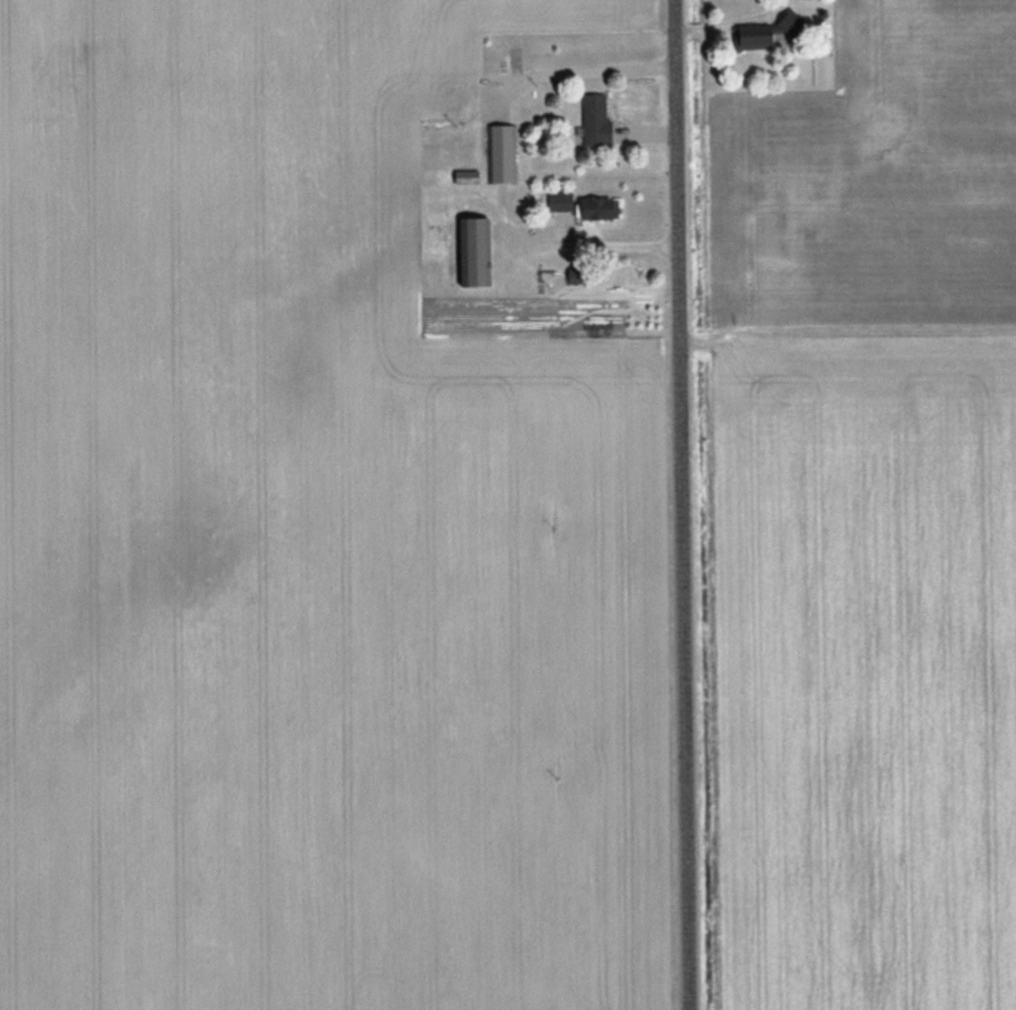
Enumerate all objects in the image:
building: (760, 32)
building: (594, 121)
building: (502, 153)
building: (582, 205)
building: (473, 252)
road: (682, 505)

